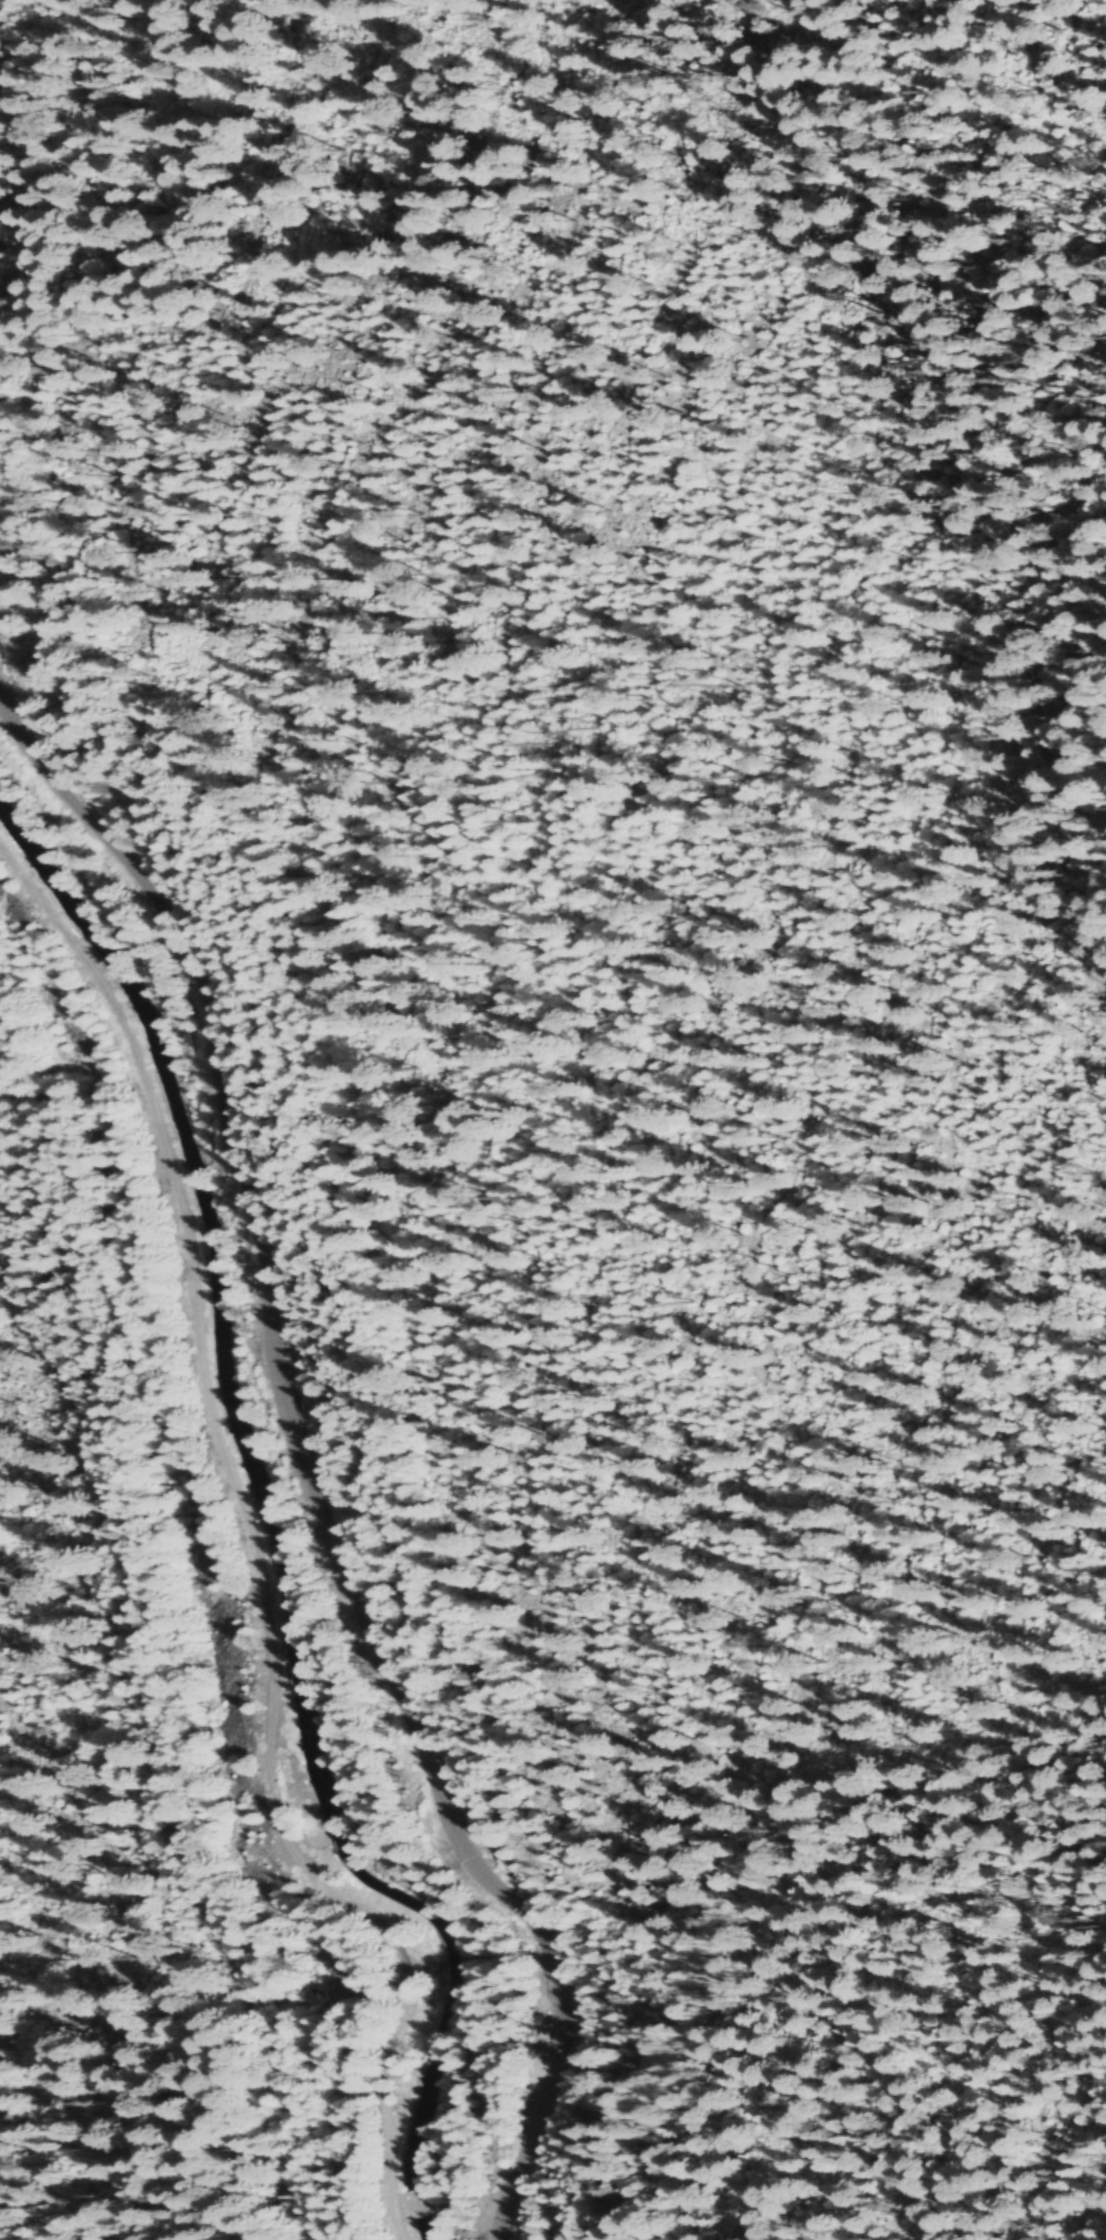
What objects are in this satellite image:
road: (301, 1471)
road: (256, 1551)
road: (422, 2203)

